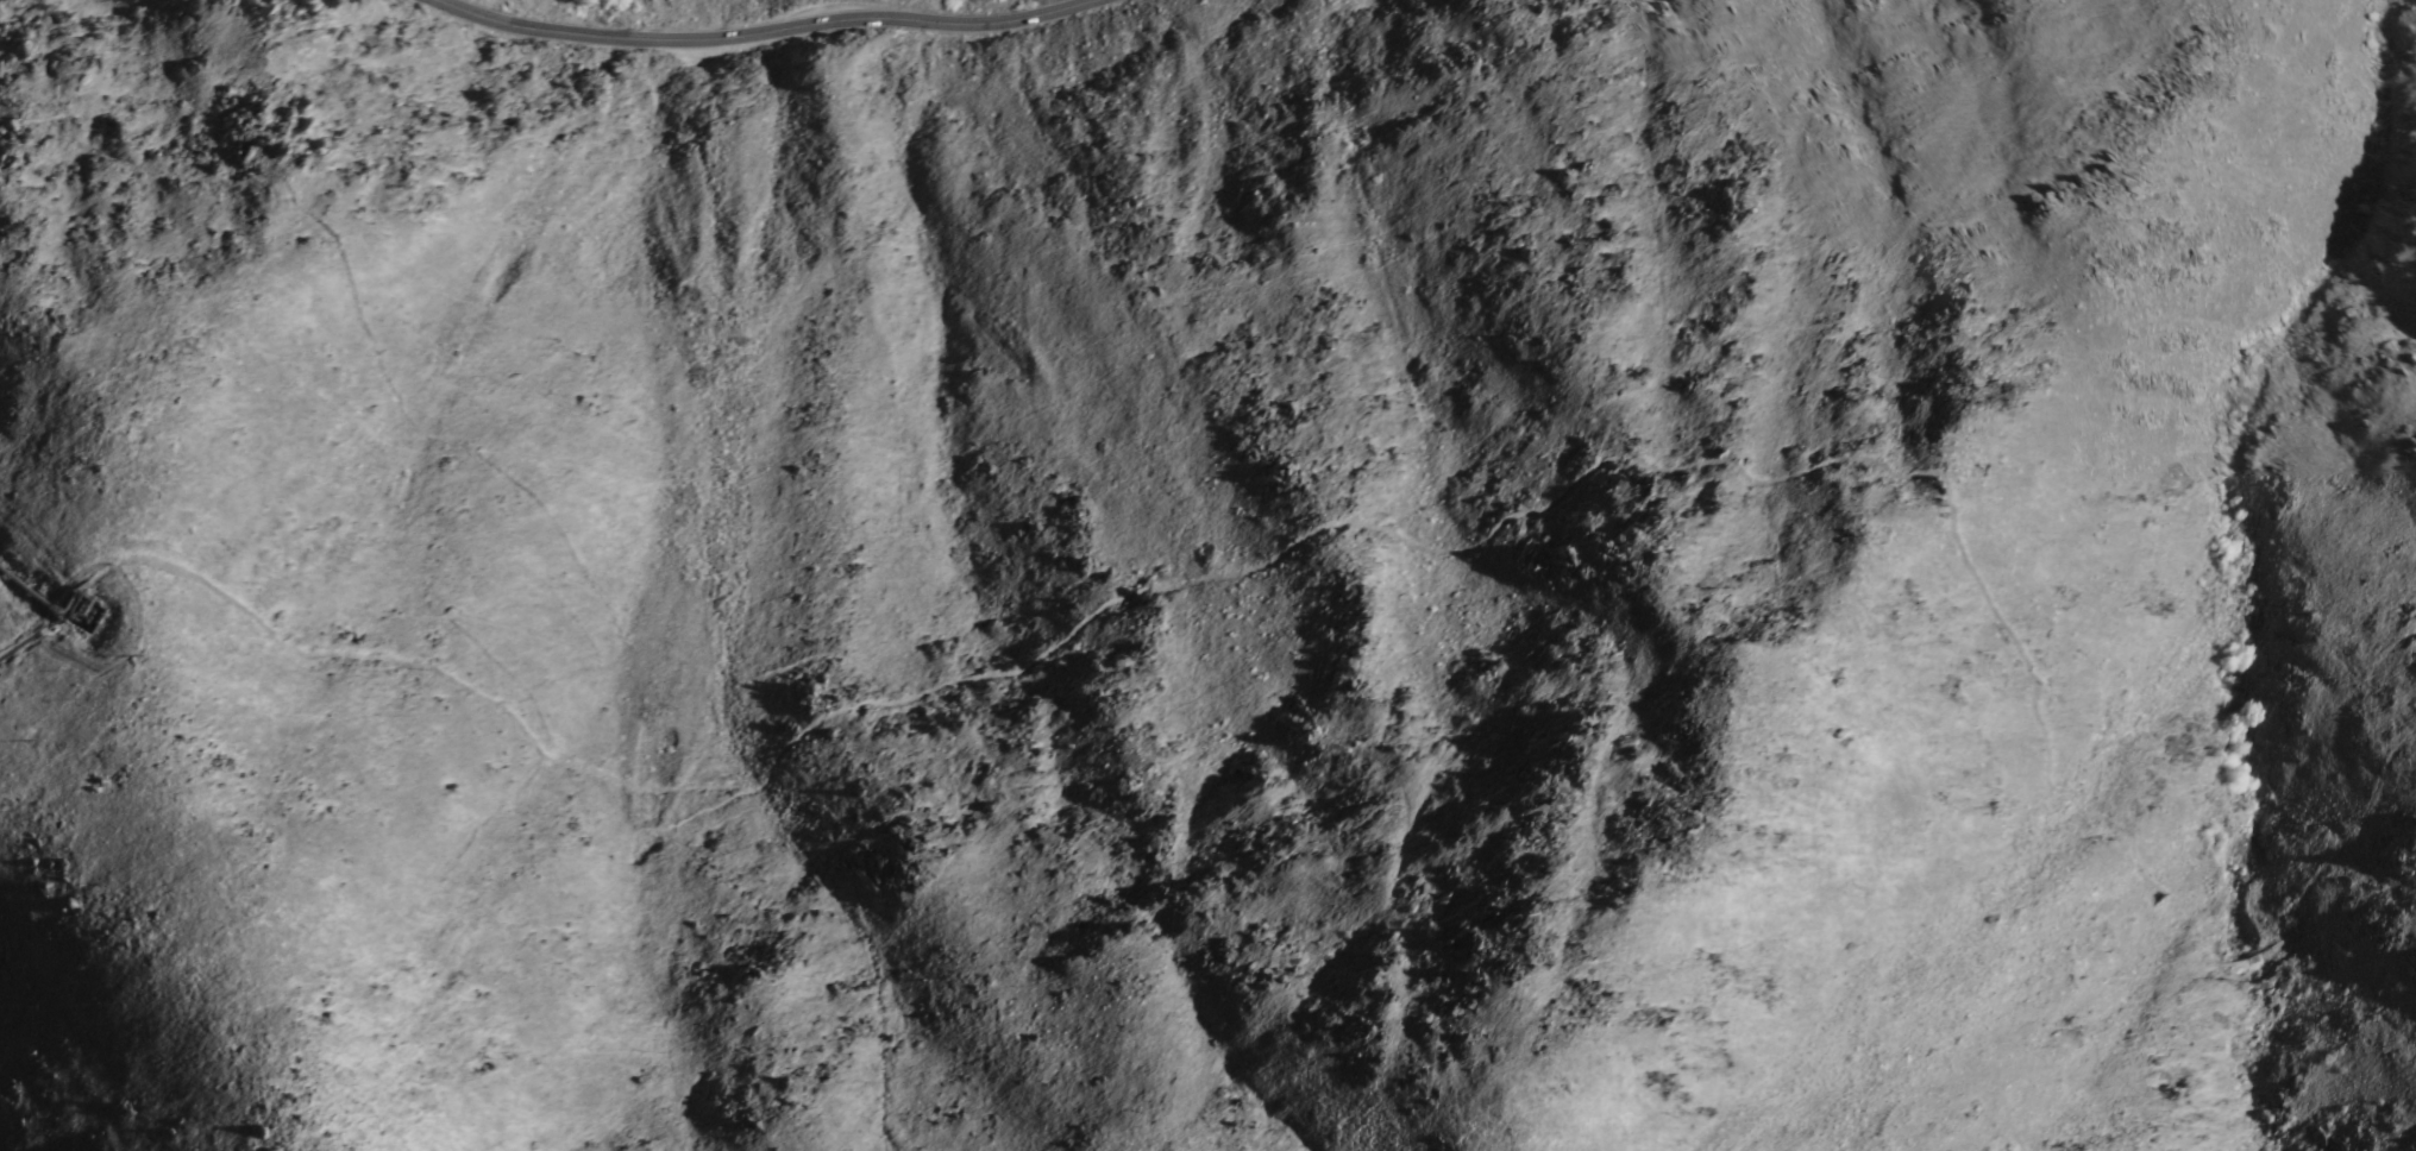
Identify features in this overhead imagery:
road: (772, 29)
building: (84, 617)

